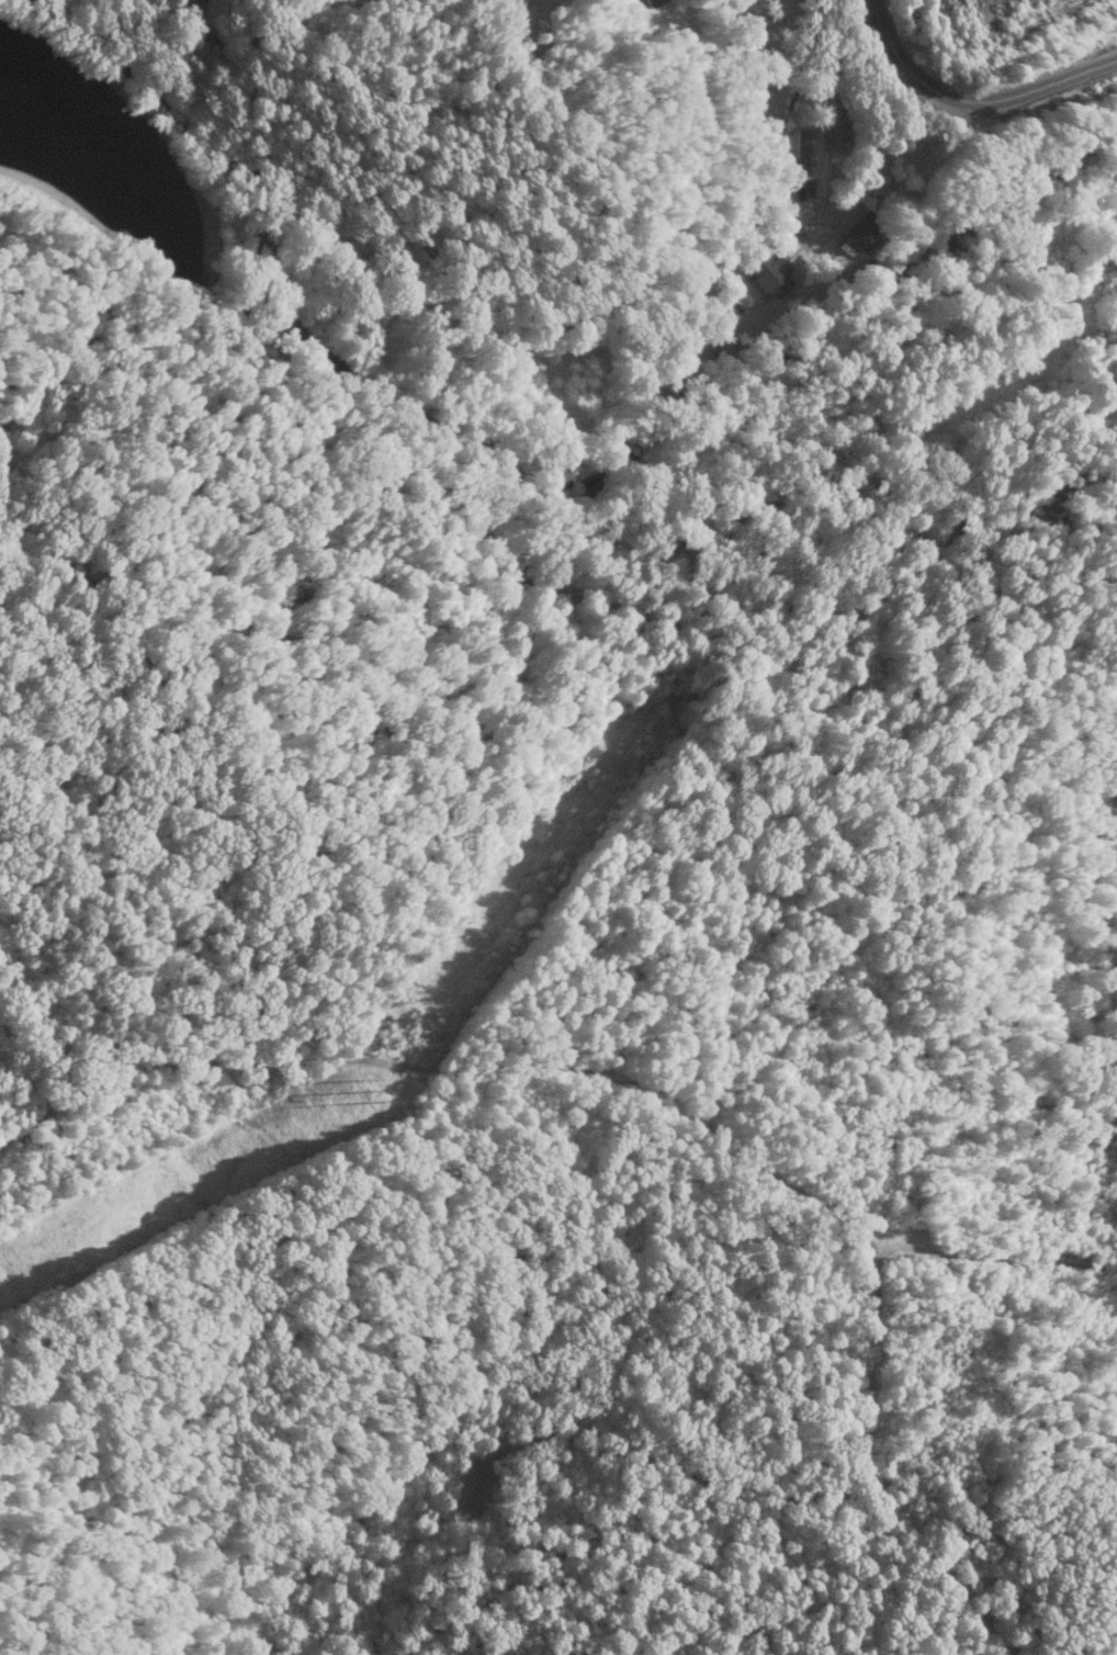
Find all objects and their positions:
building: (650, 2)
road: (971, 103)
building: (834, 131)
building: (798, 153)
building: (804, 187)
building: (861, 232)
building: (767, 274)
power tower: (381, 1089)

